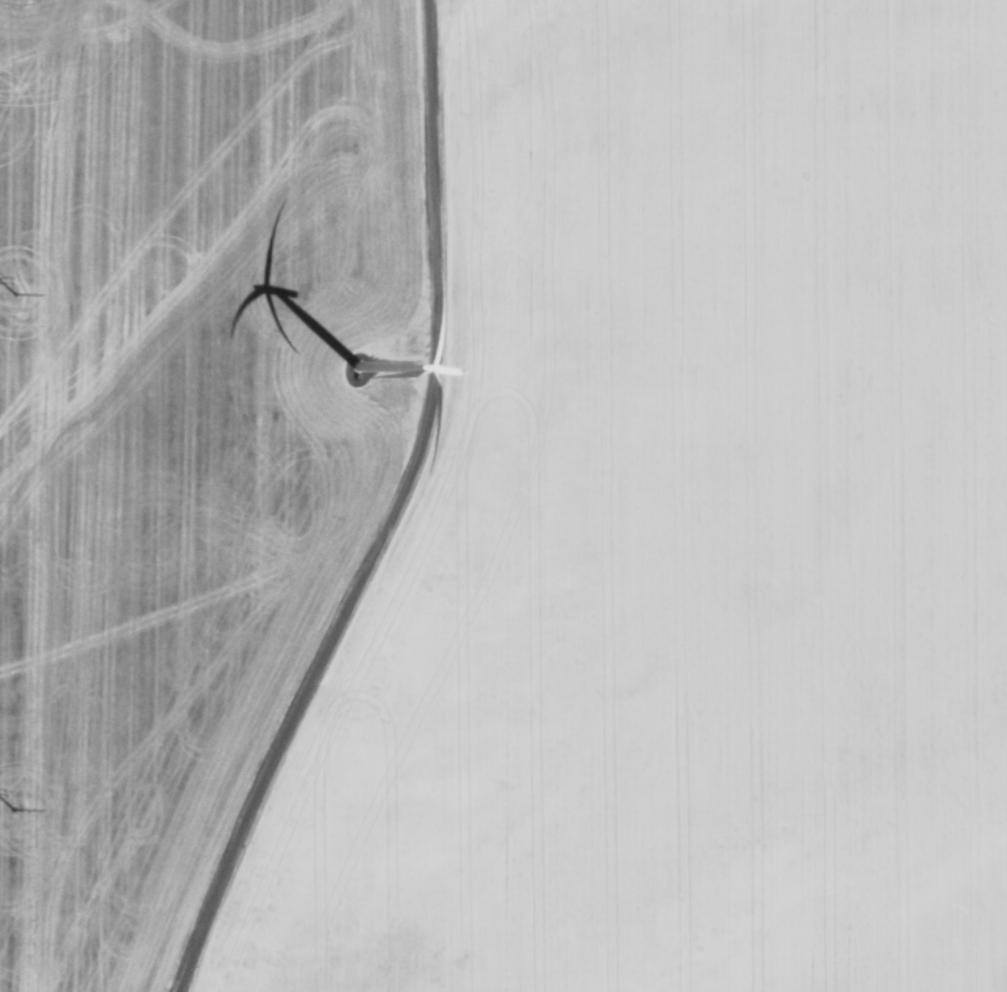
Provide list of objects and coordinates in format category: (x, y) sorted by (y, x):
power tower: (7, 304)
wind turbine: (348, 369)
road: (376, 513)
power tower: (13, 814)

